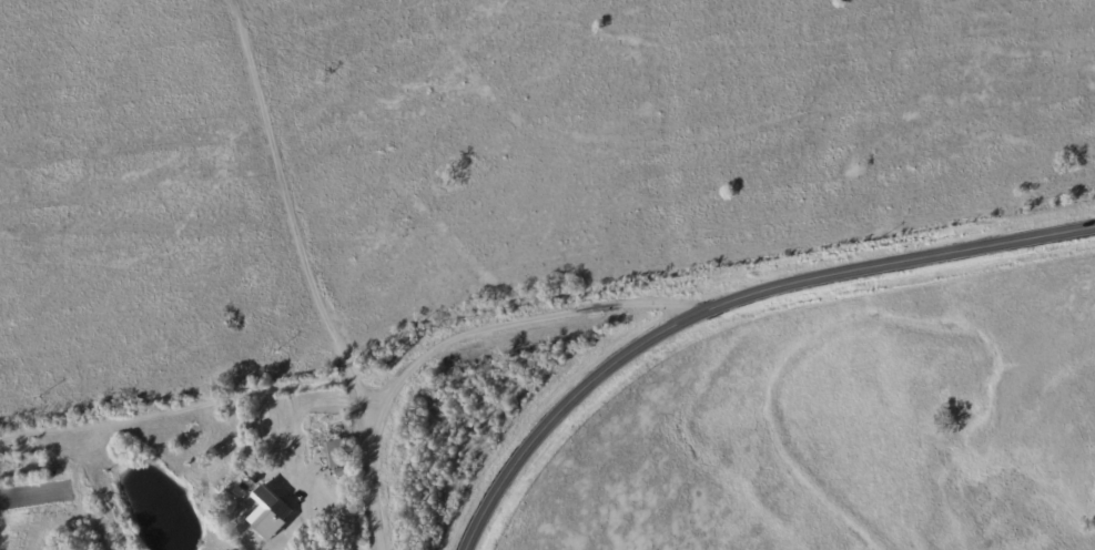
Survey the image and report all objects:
road: (325, 204)
road: (729, 302)
road: (466, 336)
building: (336, 452)
building: (268, 511)
road: (305, 524)

